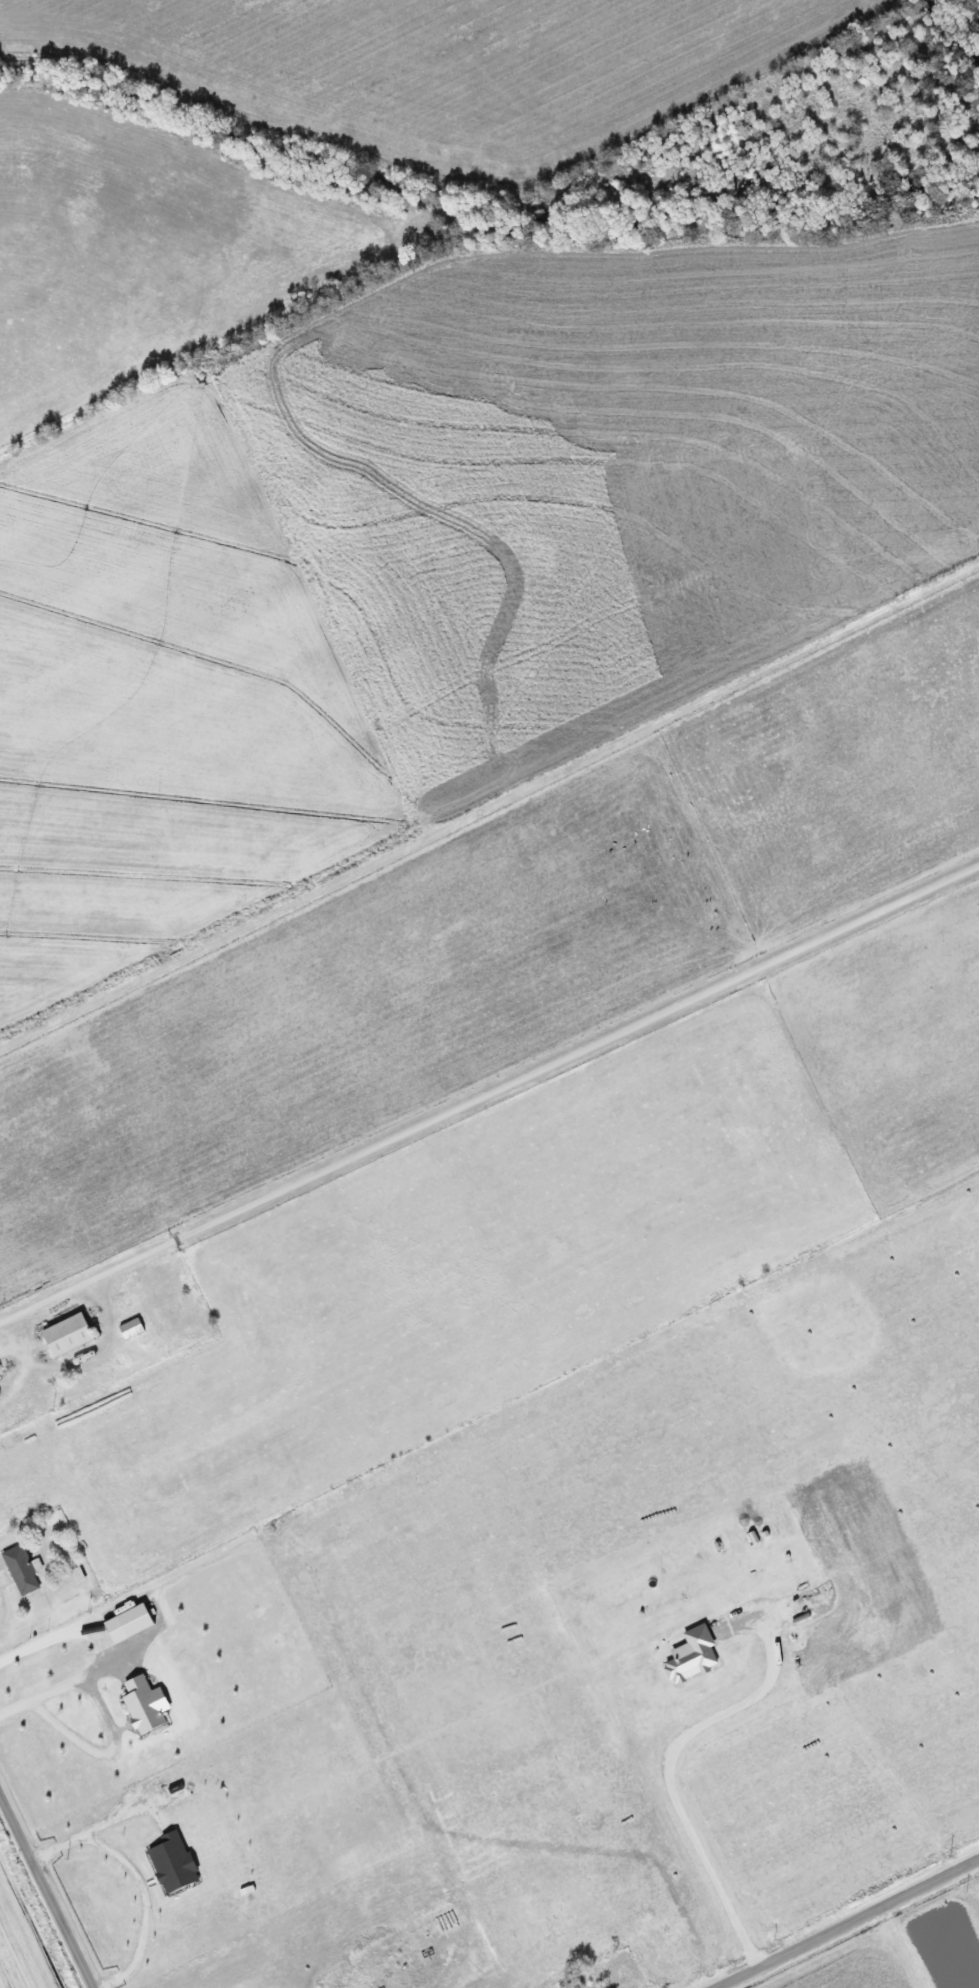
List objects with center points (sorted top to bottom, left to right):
road: (489, 1090)
building: (126, 1327)
building: (62, 1333)
road: (16, 1349)
building: (16, 1569)
road: (135, 1878)
road: (47, 1890)
road: (845, 1921)
park: (601, 1973)

